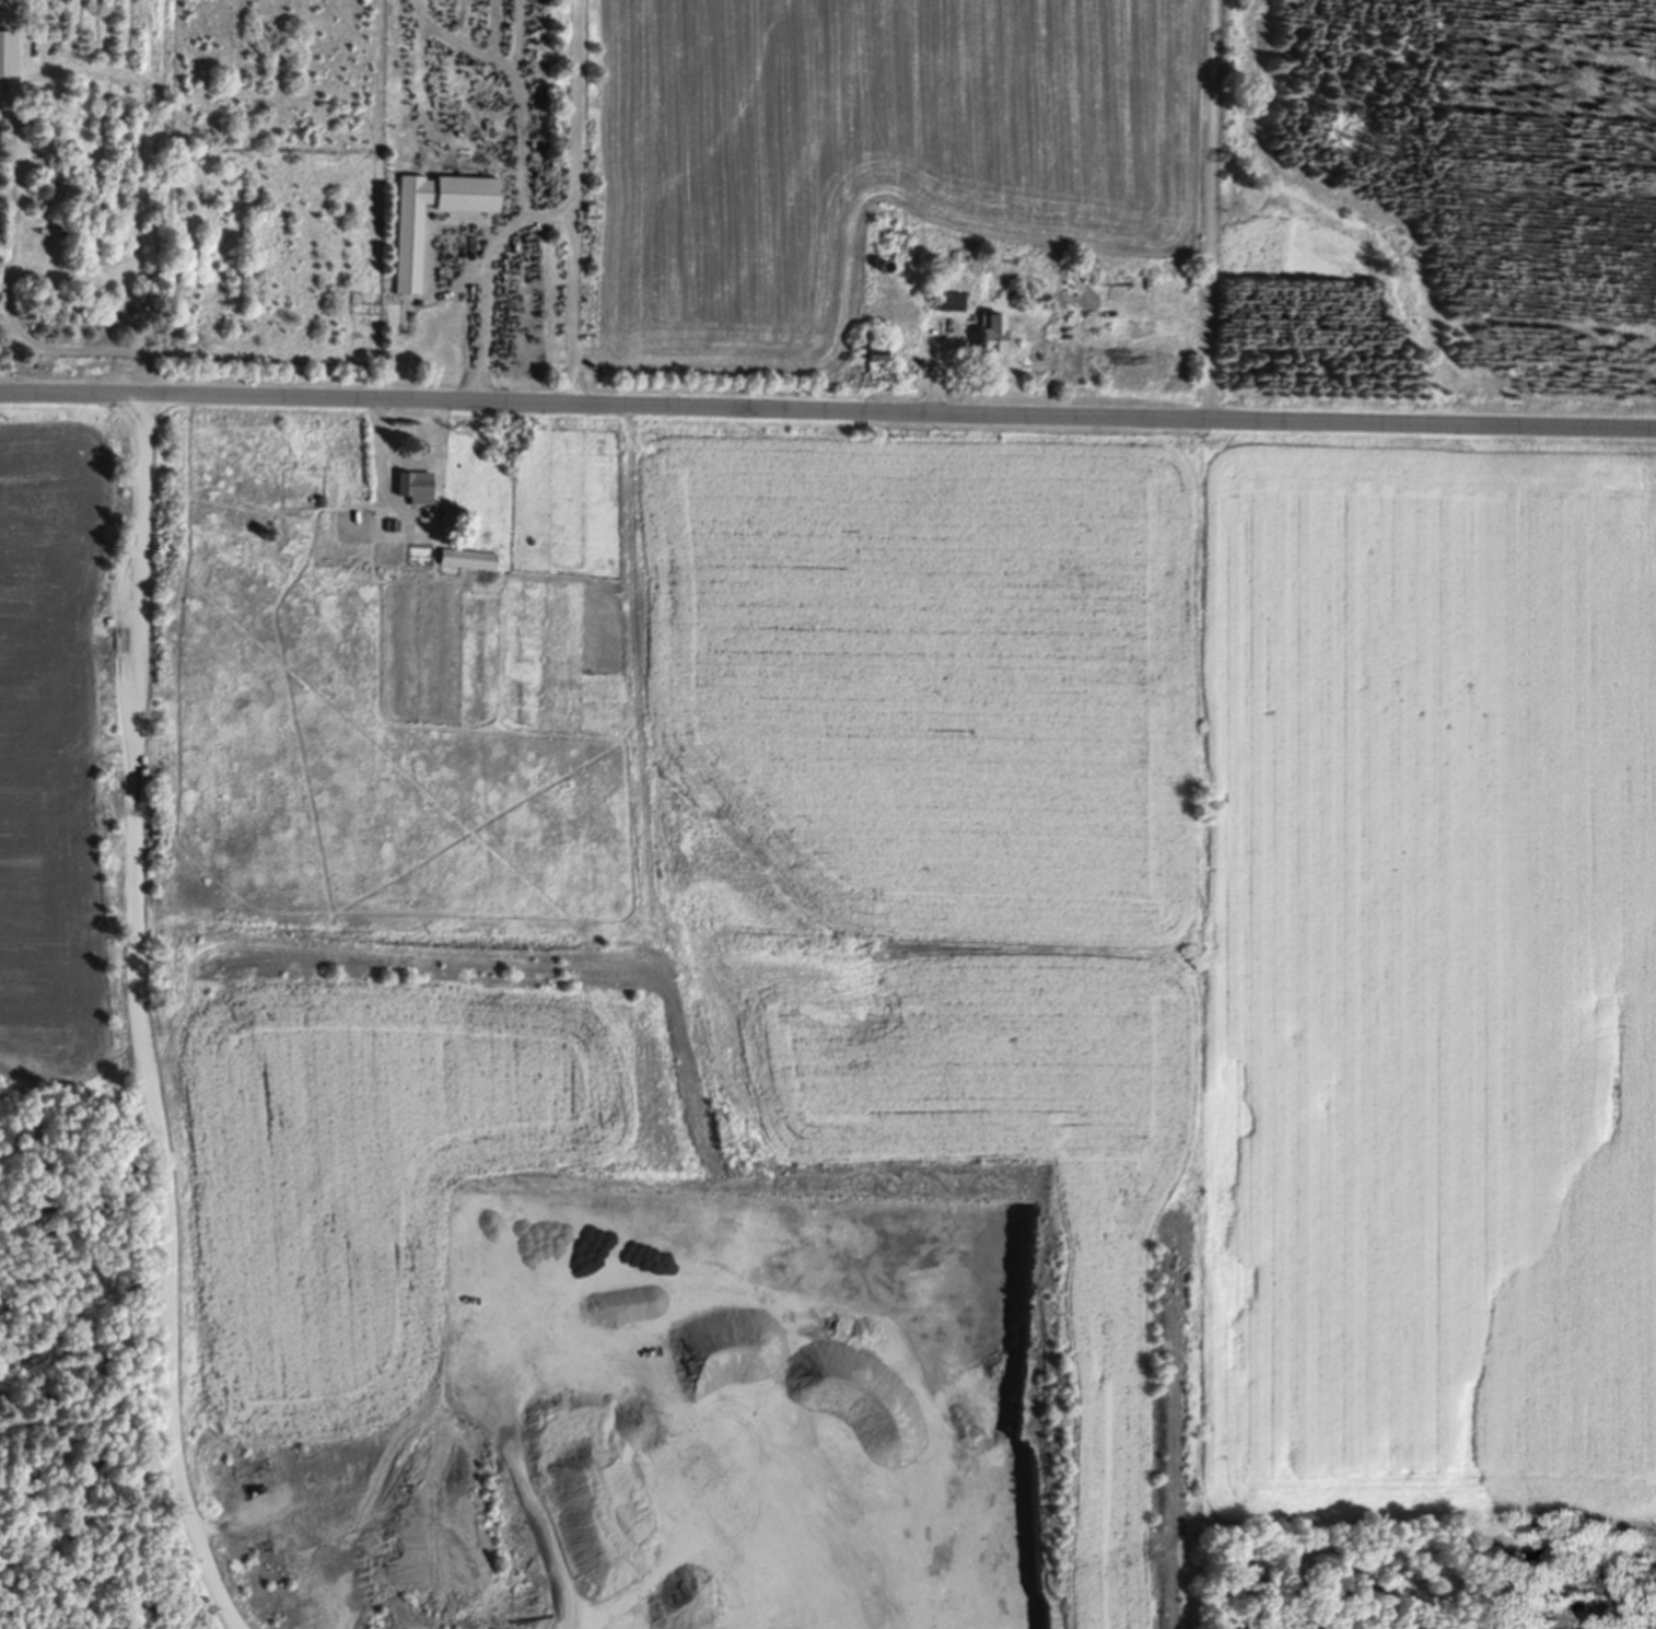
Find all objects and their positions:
building: (8, 48)
building: (59, 165)
road: (576, 200)
road: (1210, 208)
building: (410, 248)
building: (958, 252)
building: (887, 261)
building: (953, 298)
road: (10, 301)
building: (994, 329)
building: (879, 348)
road: (827, 407)
building: (418, 482)
building: (324, 494)
building: (455, 510)
building: (395, 521)
building: (271, 531)
building: (470, 554)
road: (140, 1017)
quarry: (640, 1445)
building: (1601, 1621)

